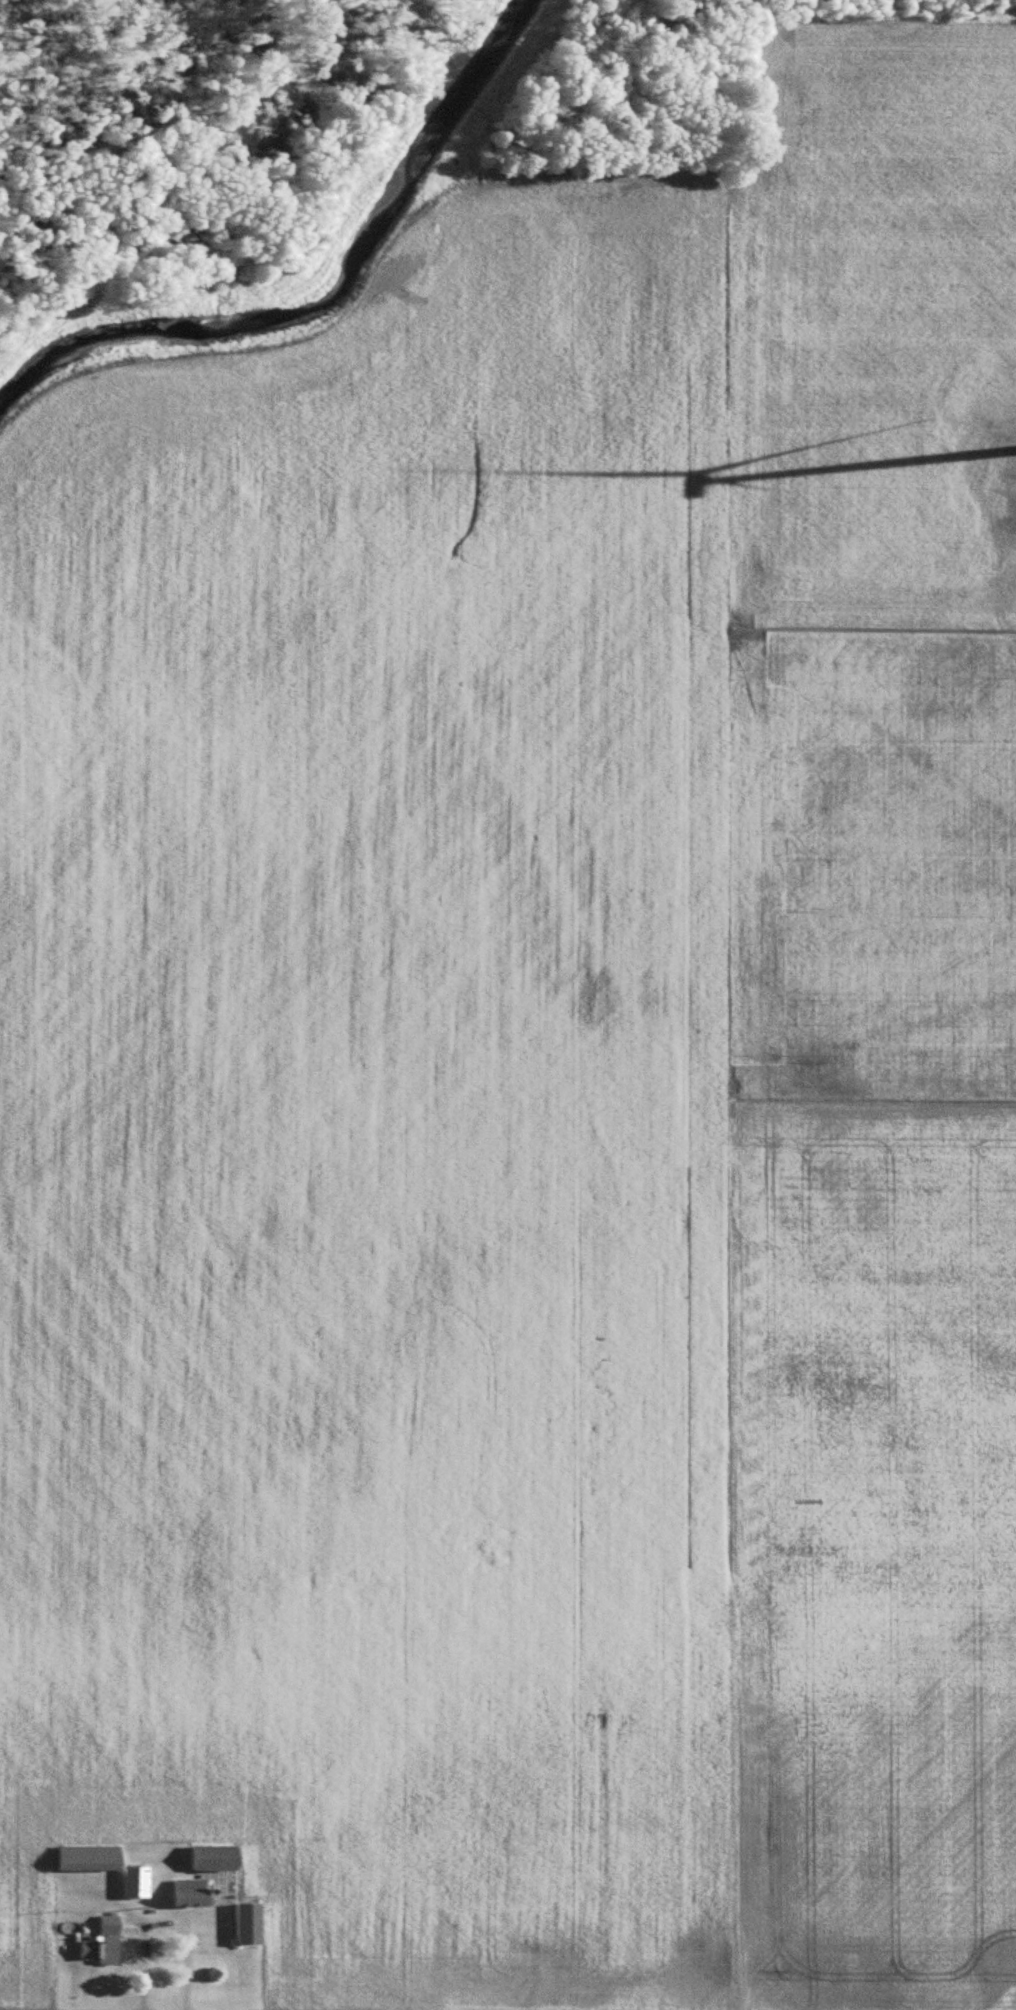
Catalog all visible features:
river: (331, 301)
building: (216, 1859)
building: (107, 1868)
building: (193, 1894)
building: (249, 1924)
building: (103, 1942)

